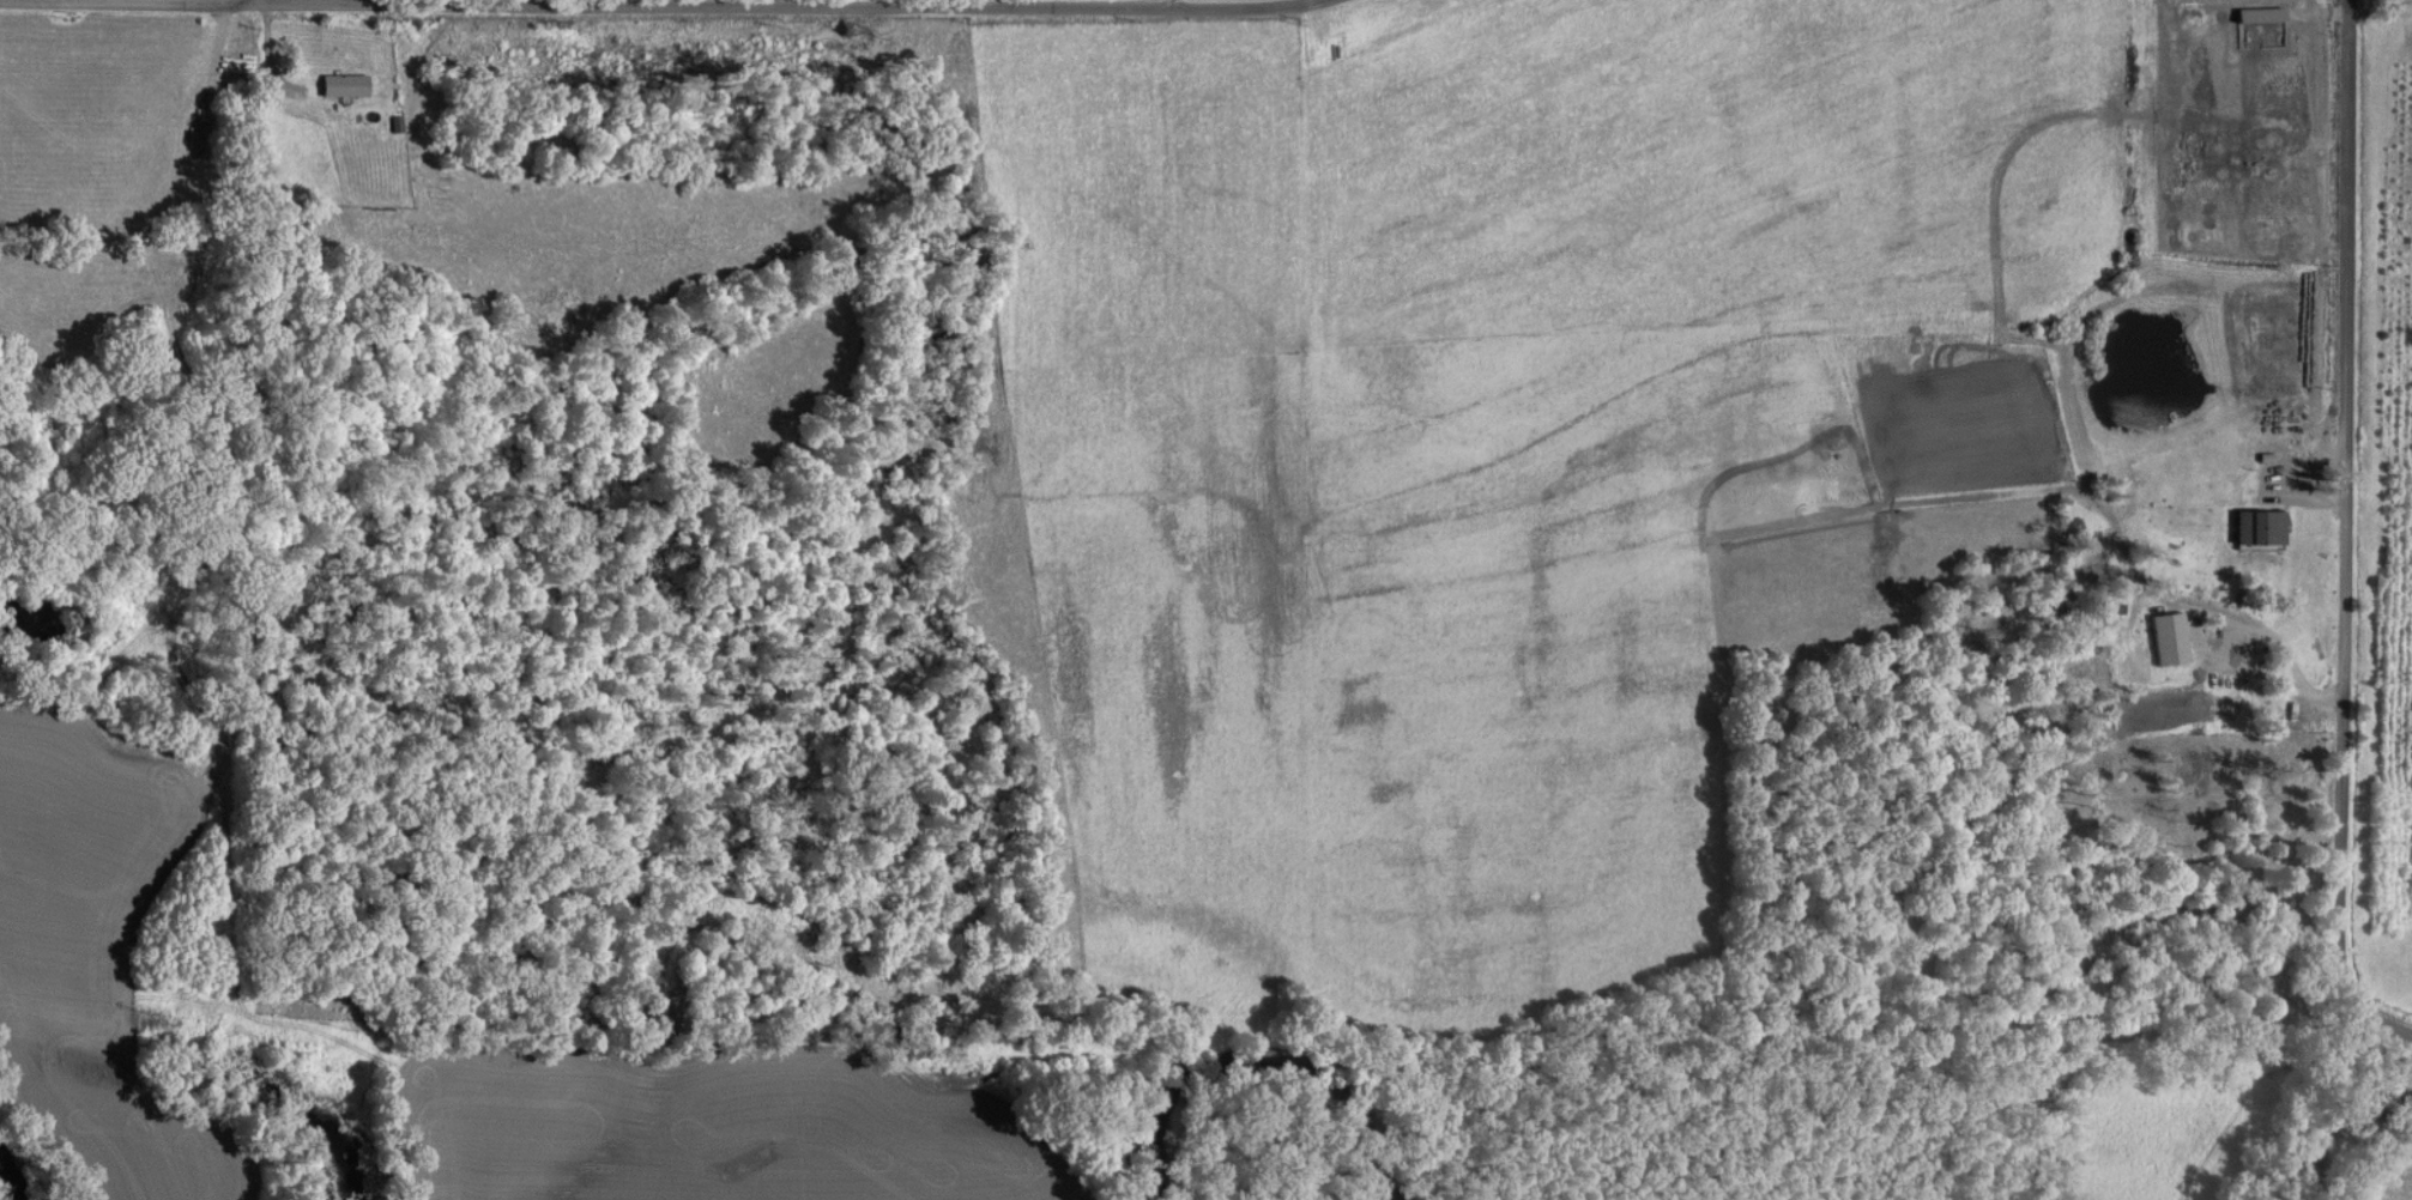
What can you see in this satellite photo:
road: (995, 2)
building: (340, 84)
building: (2256, 527)
road: (2344, 529)
building: (2168, 638)
river: (1267, 1067)
river: (2334, 1126)
river: (2, 1192)

